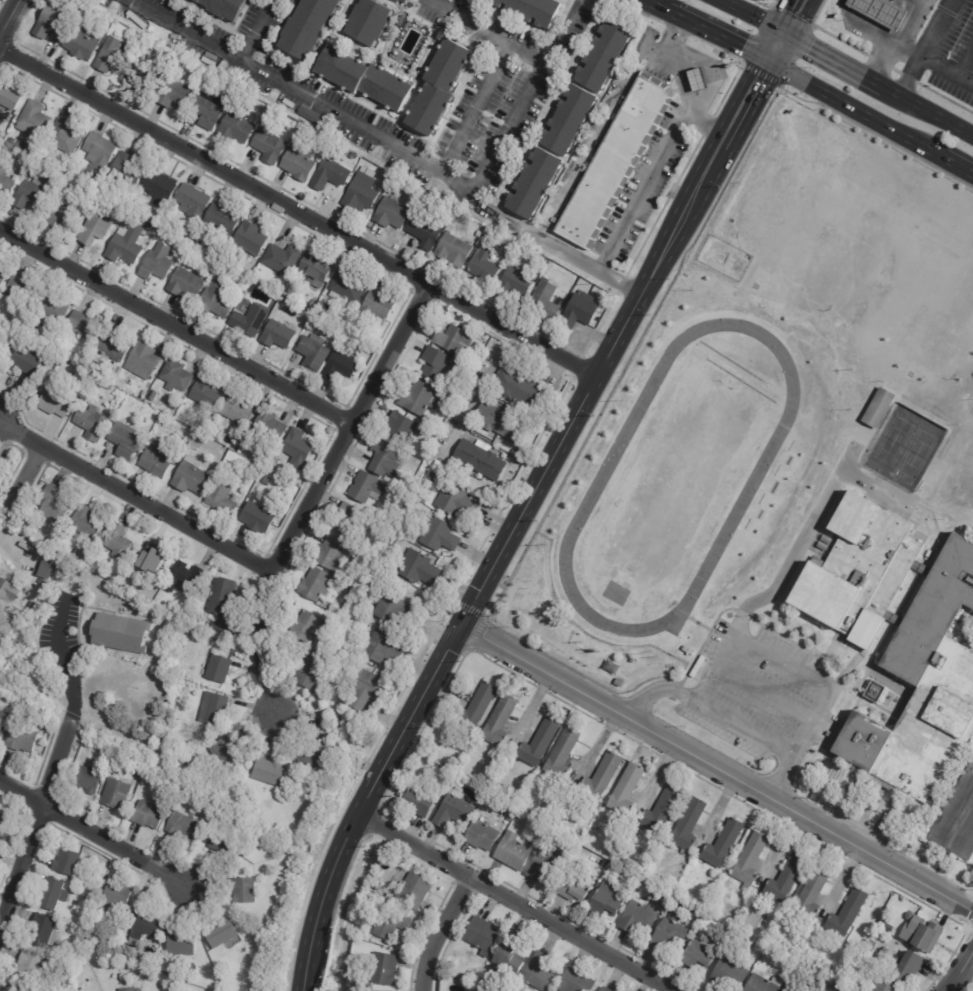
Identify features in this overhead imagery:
road: (125, 0)
building: (399, 1)
building: (225, 7)
road: (647, 7)
building: (531, 10)
building: (881, 12)
gas station: (881, 12)
road: (744, 21)
road: (796, 21)
building: (368, 22)
building: (50, 23)
road: (12, 24)
building: (303, 26)
road: (860, 29)
road: (259, 31)
road: (488, 33)
road: (715, 41)
traffic signals: (785, 43)
building: (81, 44)
road: (894, 44)
road: (923, 49)
road: (907, 50)
building: (109, 56)
road: (777, 56)
building: (603, 58)
road: (675, 66)
road: (831, 67)
traffic signals: (770, 70)
road: (946, 71)
building: (142, 78)
building: (363, 79)
building: (695, 80)
building: (437, 88)
building: (173, 94)
building: (248, 99)
building: (9, 100)
road: (528, 102)
building: (255, 104)
road: (750, 106)
road: (475, 110)
building: (208, 111)
road: (855, 117)
road: (926, 117)
building: (31, 119)
building: (315, 120)
building: (568, 120)
building: (235, 127)
road: (708, 127)
building: (1, 135)
building: (63, 137)
building: (12, 141)
road: (387, 144)
building: (331, 145)
road: (728, 145)
building: (19, 146)
building: (269, 147)
building: (352, 155)
building: (96, 157)
building: (612, 161)
building: (298, 163)
building: (126, 170)
road: (956, 173)
building: (329, 174)
building: (534, 183)
building: (5, 186)
building: (158, 189)
building: (359, 192)
road: (644, 192)
building: (29, 196)
building: (192, 203)
building: (59, 215)
road: (299, 215)
building: (390, 215)
building: (221, 220)
building: (147, 227)
building: (92, 230)
building: (423, 231)
building: (187, 236)
building: (249, 240)
building: (198, 241)
building: (125, 247)
building: (452, 249)
building: (280, 259)
building: (156, 263)
building: (482, 266)
building: (314, 272)
building: (3, 275)
building: (185, 283)
building: (513, 283)
building: (344, 289)
building: (19, 292)
building: (274, 297)
building: (216, 301)
building: (543, 301)
building: (375, 308)
building: (52, 309)
building: (577, 313)
building: (305, 317)
building: (247, 318)
building: (27, 322)
building: (83, 325)
road: (177, 331)
building: (361, 333)
building: (479, 333)
building: (276, 336)
building: (454, 339)
building: (112, 345)
building: (365, 349)
building: (310, 352)
building: (141, 361)
building: (23, 362)
building: (434, 362)
building: (337, 368)
building: (175, 377)
building: (516, 386)
road: (477, 391)
building: (143, 394)
building: (205, 394)
building: (153, 395)
building: (418, 398)
building: (53, 401)
building: (173, 407)
building: (877, 407)
building: (236, 411)
building: (499, 422)
building: (90, 425)
building: (268, 428)
building: (400, 429)
building: (124, 441)
building: (227, 443)
park: (903, 447)
building: (295, 449)
building: (384, 457)
building: (479, 460)
building: (154, 462)
track: (599, 476)
building: (189, 478)
road: (27, 481)
building: (266, 481)
building: (365, 487)
road: (317, 492)
building: (220, 498)
road: (134, 499)
building: (456, 501)
building: (51, 507)
building: (424, 511)
building: (256, 520)
building: (350, 521)
building: (84, 524)
road: (812, 528)
building: (404, 530)
building: (438, 535)
building: (826, 539)
building: (116, 541)
road: (0, 543)
building: (822, 545)
building: (327, 551)
building: (81, 555)
building: (39, 557)
building: (152, 559)
road: (502, 563)
building: (93, 565)
building: (49, 567)
building: (417, 568)
building: (858, 570)
building: (185, 577)
building: (314, 584)
building: (12, 592)
building: (219, 598)
building: (171, 607)
building: (392, 609)
building: (2, 617)
building: (304, 626)
building: (120, 633)
building: (379, 647)
road: (767, 655)
road: (59, 657)
building: (632, 661)
building: (217, 668)
building: (309, 672)
building: (619, 683)
building: (924, 688)
building: (365, 689)
parking lot: (754, 691)
road: (763, 695)
building: (475, 707)
building: (212, 709)
building: (3, 720)
building: (498, 721)
building: (47, 725)
road: (747, 727)
building: (24, 736)
building: (539, 743)
building: (226, 752)
building: (561, 755)
building: (311, 756)
building: (117, 760)
building: (179, 761)
road: (721, 768)
building: (268, 772)
building: (599, 777)
building: (90, 779)
building: (453, 784)
building: (625, 791)
building: (117, 793)
building: (418, 802)
building: (551, 804)
building: (660, 809)
building: (452, 811)
building: (151, 814)
road: (34, 815)
building: (508, 818)
building: (957, 818)
building: (3, 819)
building: (687, 824)
building: (185, 827)
road: (92, 833)
building: (479, 835)
building: (721, 844)
building: (229, 845)
building: (510, 852)
building: (389, 856)
building: (581, 856)
building: (749, 859)
building: (69, 862)
building: (544, 865)
building: (784, 879)
building: (573, 888)
building: (412, 891)
building: (246, 893)
building: (811, 894)
building: (56, 895)
building: (120, 897)
building: (91, 900)
building: (661, 900)
building: (606, 901)
road: (517, 902)
building: (846, 914)
building: (697, 915)
building: (637, 918)
building: (388, 923)
building: (148, 925)
building: (882, 925)
road: (433, 928)
building: (890, 929)
building: (46, 932)
building: (223, 933)
building: (668, 934)
building: (921, 934)
building: (480, 935)
building: (182, 942)
building: (871, 944)
building: (868, 951)
building: (765, 952)
building: (696, 954)
building: (505, 958)
building: (32, 966)
building: (381, 968)
building: (908, 968)
building: (152, 973)
building: (471, 973)
building: (728, 973)
building: (537, 974)
road: (962, 975)
building: (573, 982)
building: (760, 984)
building: (355, 985)
building: (368, 985)
building: (884, 986)
building: (485, 987)
building: (18, 988)
building: (602, 989)
building: (139, 990)
building: (783, 990)

